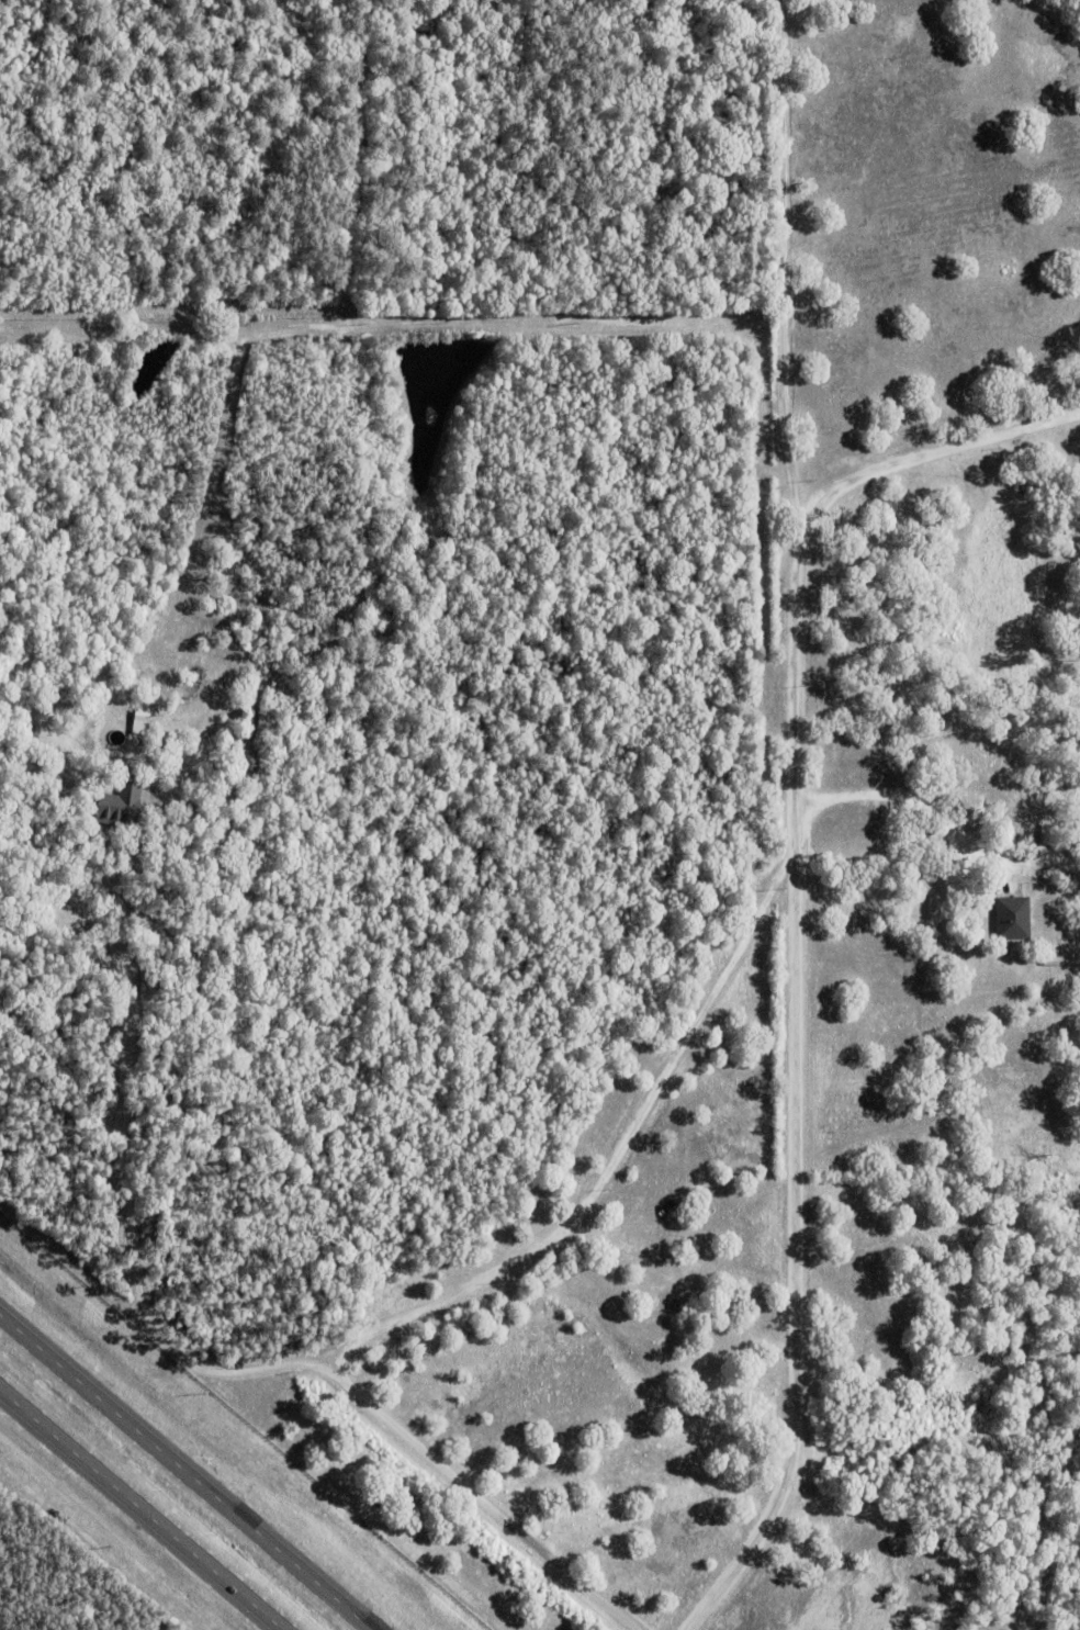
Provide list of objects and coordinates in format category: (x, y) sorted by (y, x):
road: (781, 265)
road: (926, 449)
building: (142, 716)
road: (882, 794)
building: (123, 803)
road: (909, 899)
building: (1013, 918)
road: (792, 1097)
road: (605, 1159)
road: (212, 1367)
road: (184, 1472)
road: (139, 1510)

